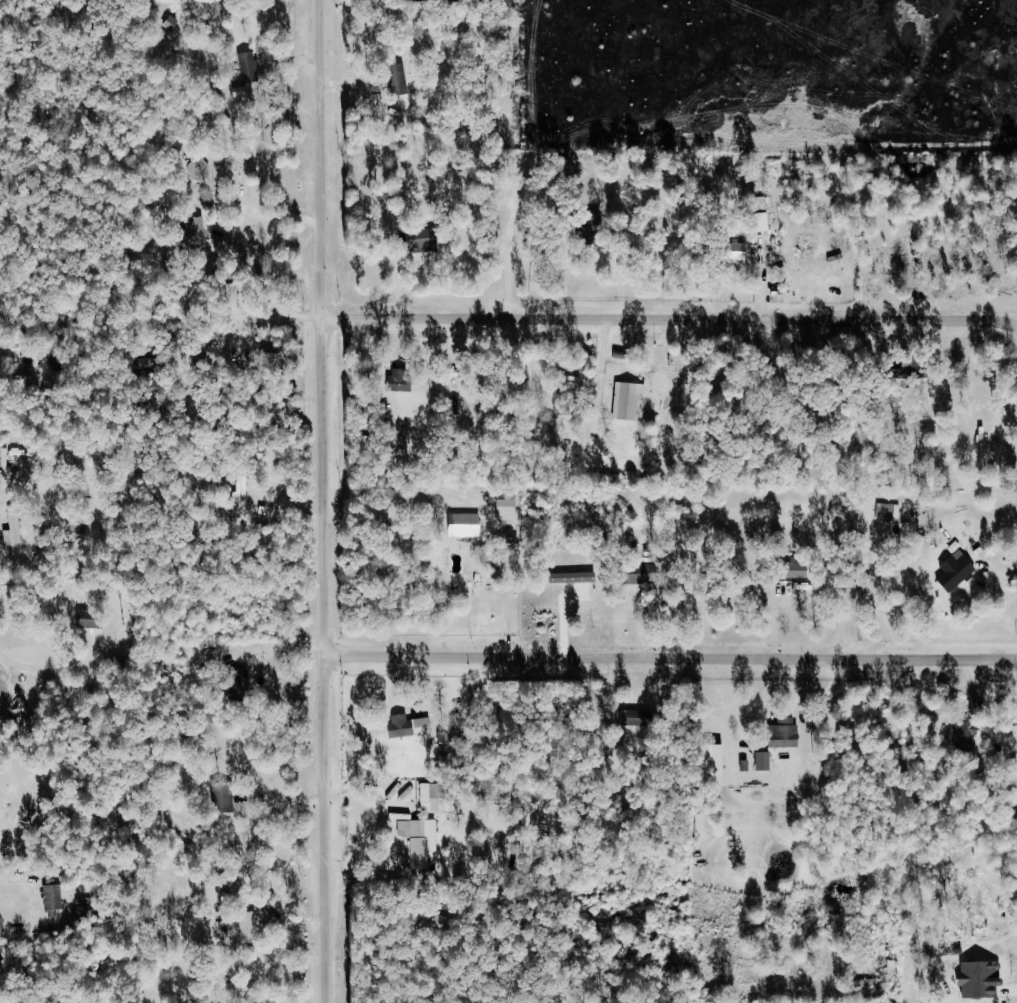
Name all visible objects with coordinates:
building: (201, 169)
road: (263, 211)
building: (200, 232)
building: (746, 252)
road: (669, 319)
building: (273, 363)
building: (923, 374)
building: (404, 380)
building: (632, 401)
building: (244, 493)
road: (323, 501)
building: (510, 508)
building: (891, 511)
building: (469, 526)
building: (959, 571)
road: (508, 600)
building: (92, 620)
road: (279, 648)
road: (671, 659)
road: (33, 667)
building: (638, 719)
building: (412, 726)
building: (790, 730)
building: (970, 736)
building: (767, 761)
building: (225, 797)
building: (440, 798)
road: (281, 802)
building: (421, 837)
building: (56, 896)
building: (252, 928)

